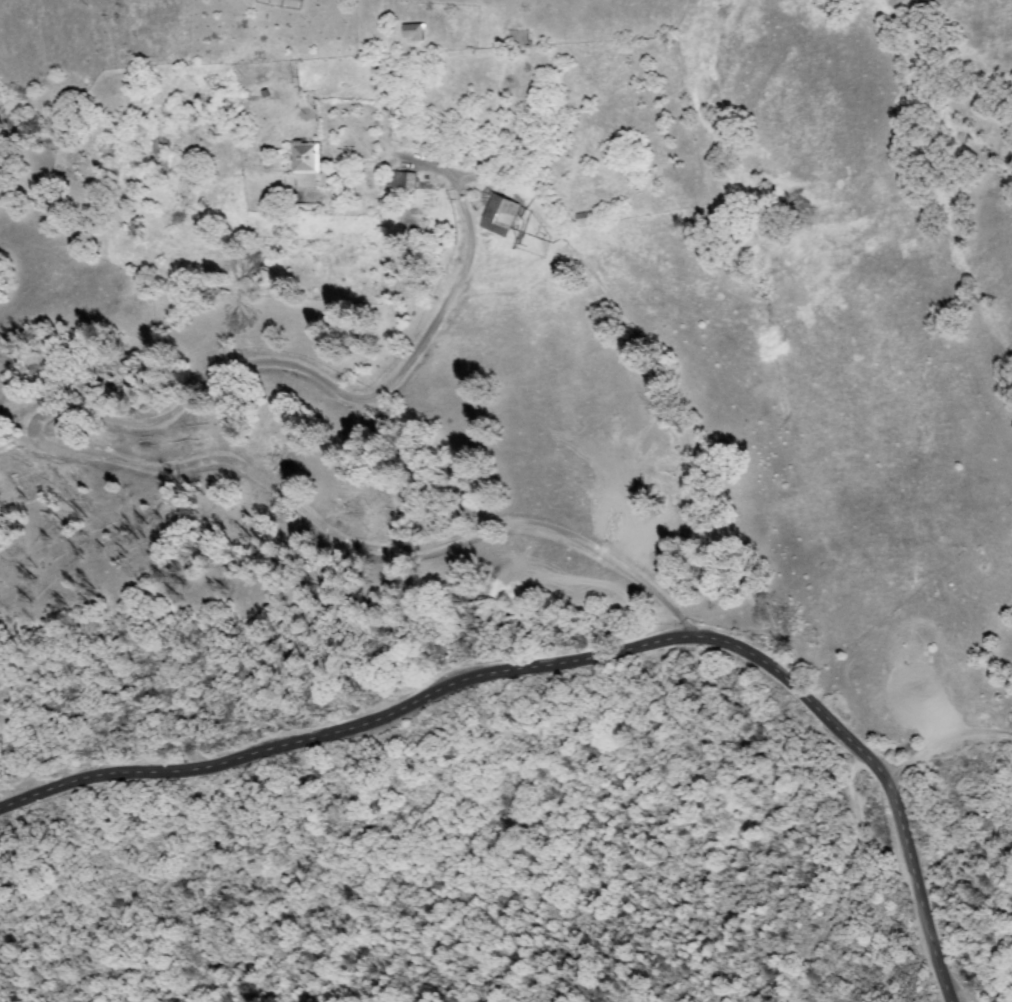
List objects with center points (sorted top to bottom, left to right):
building: (299, 0)
building: (415, 32)
building: (307, 158)
building: (275, 160)
building: (405, 180)
building: (501, 214)
building: (586, 218)
road: (761, 322)
road: (137, 462)
road: (573, 661)
road: (841, 877)

